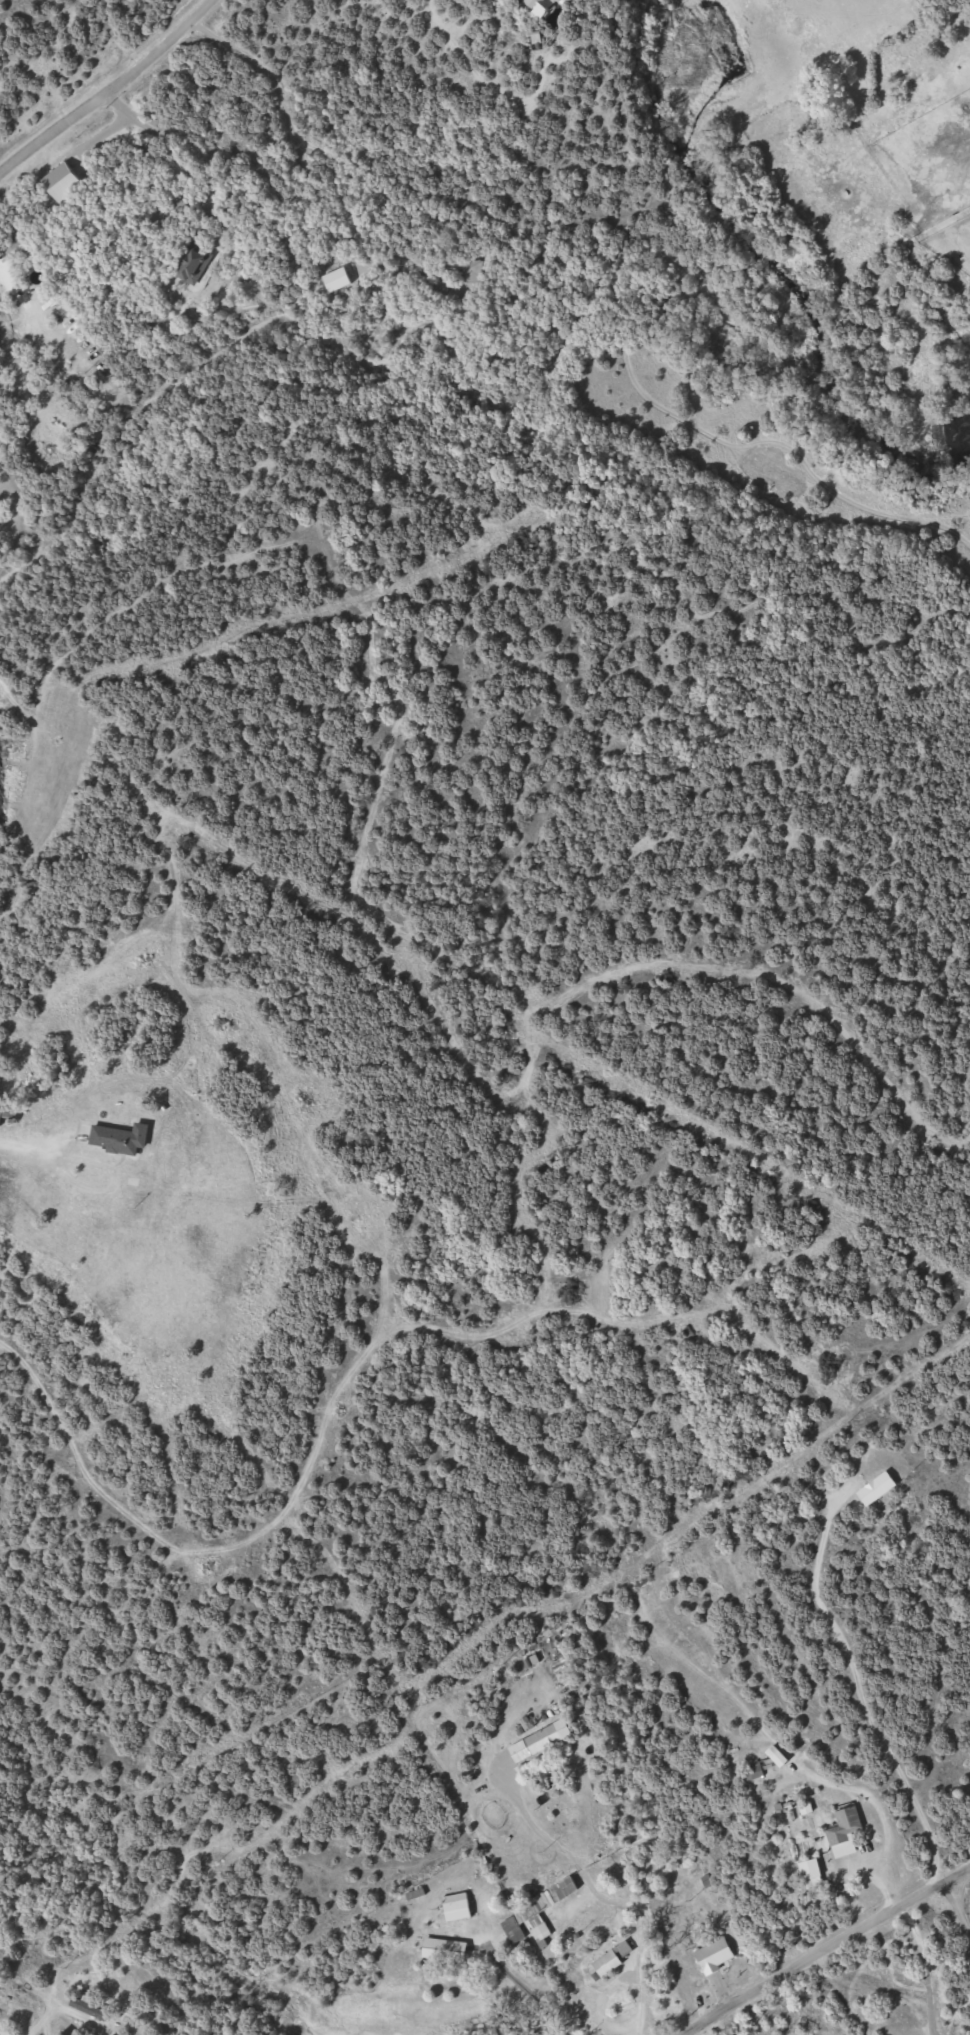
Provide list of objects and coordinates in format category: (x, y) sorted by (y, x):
building: (546, 8)
road: (9, 81)
road: (119, 102)
building: (22, 247)
building: (192, 264)
building: (471, 268)
building: (441, 285)
building: (113, 1139)
road: (31, 1146)
building: (880, 1489)
building: (548, 1741)
building: (755, 1773)
building: (848, 1832)
building: (815, 1874)
road: (610, 1898)
building: (461, 1907)
road: (955, 1911)
building: (530, 1912)
building: (450, 1950)
road: (824, 1952)
building: (718, 1956)
building: (615, 1960)
road: (869, 2005)
building: (92, 2008)
road: (716, 2026)
road: (35, 2027)

